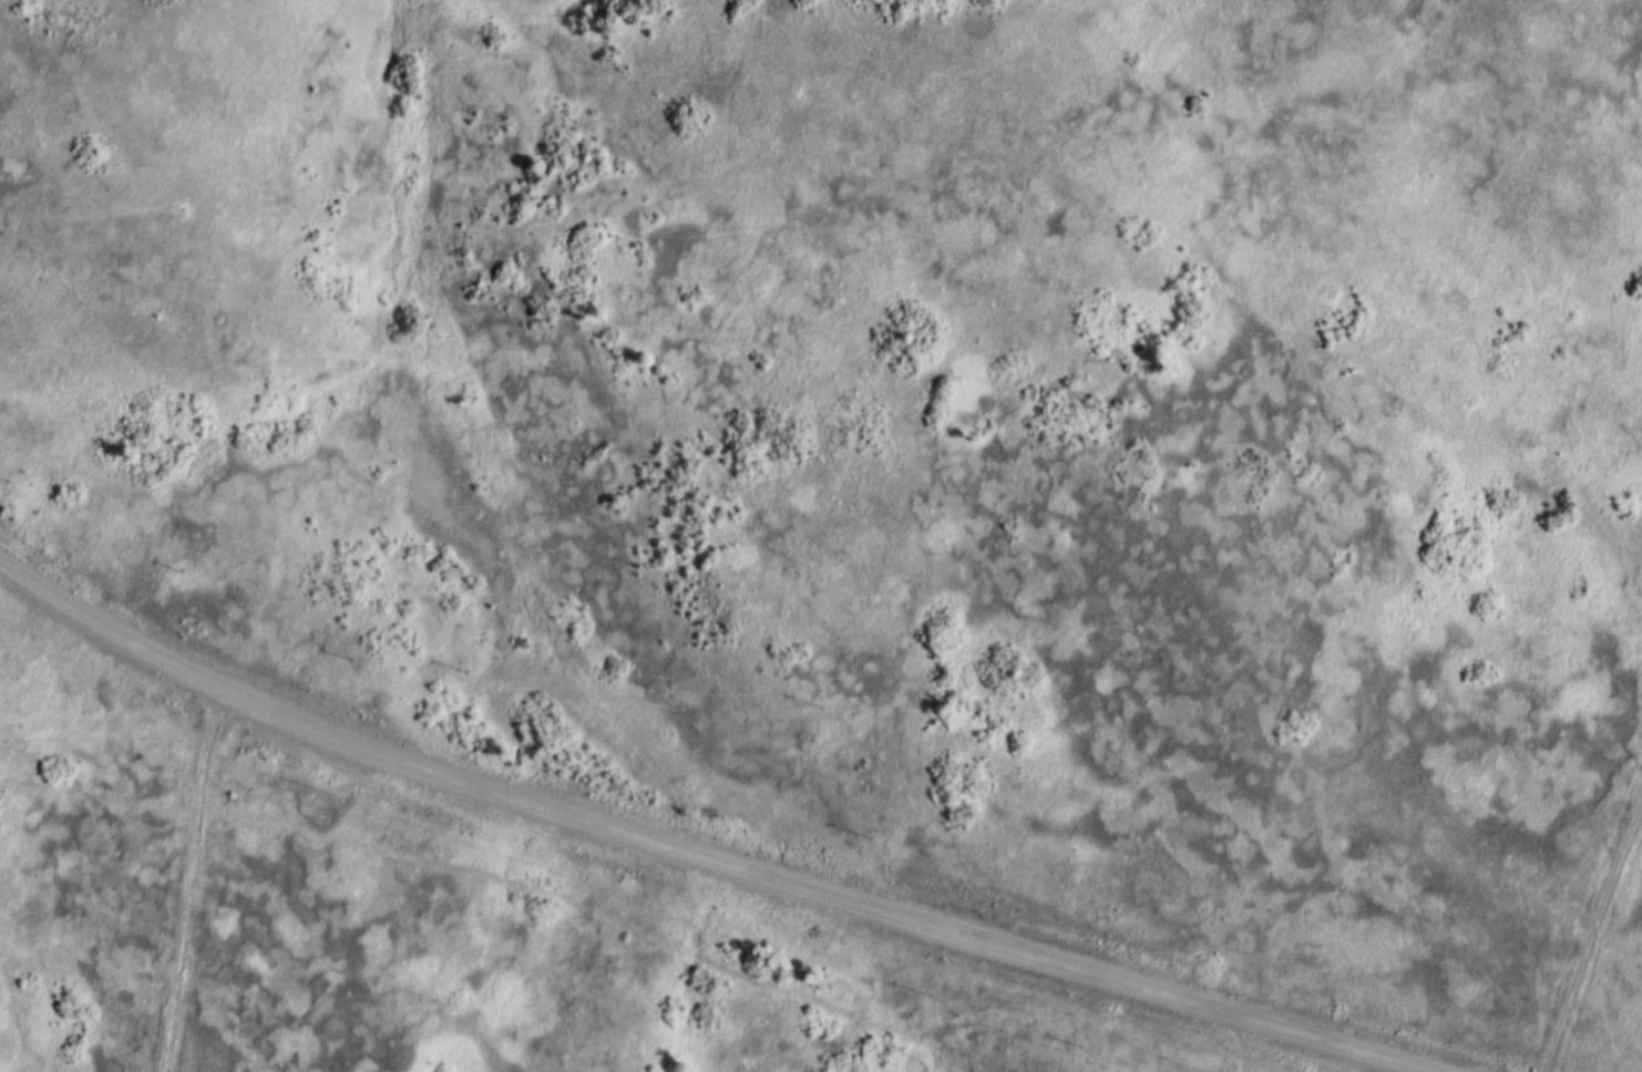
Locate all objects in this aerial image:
road: (698, 856)
road: (189, 883)
road: (1593, 946)

